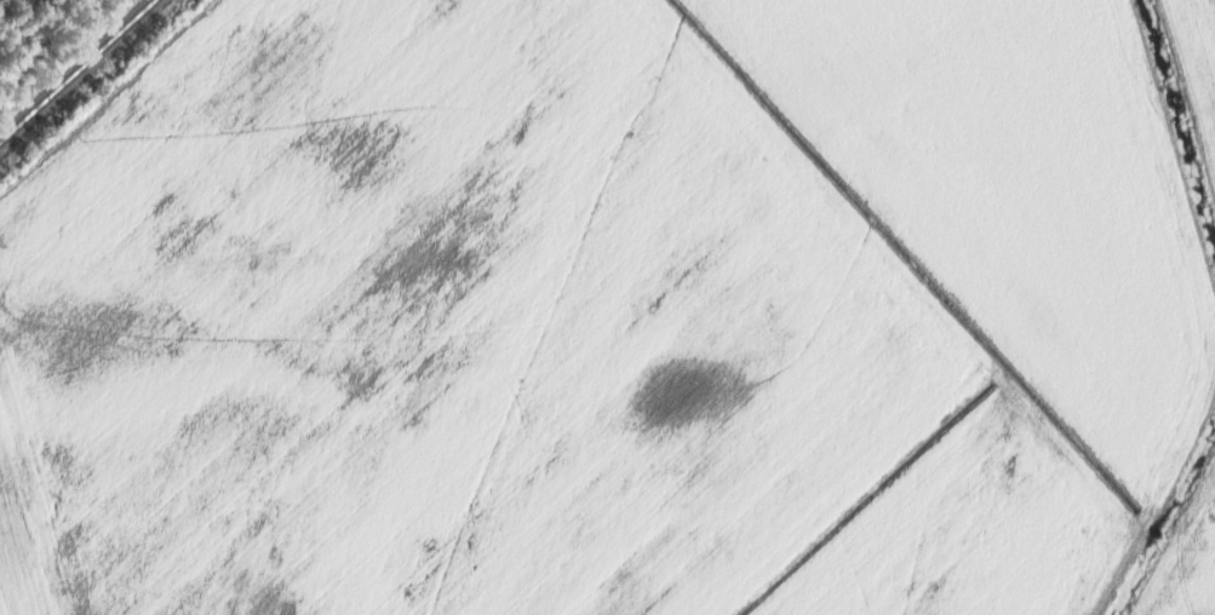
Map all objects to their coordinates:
railway: (78, 70)

